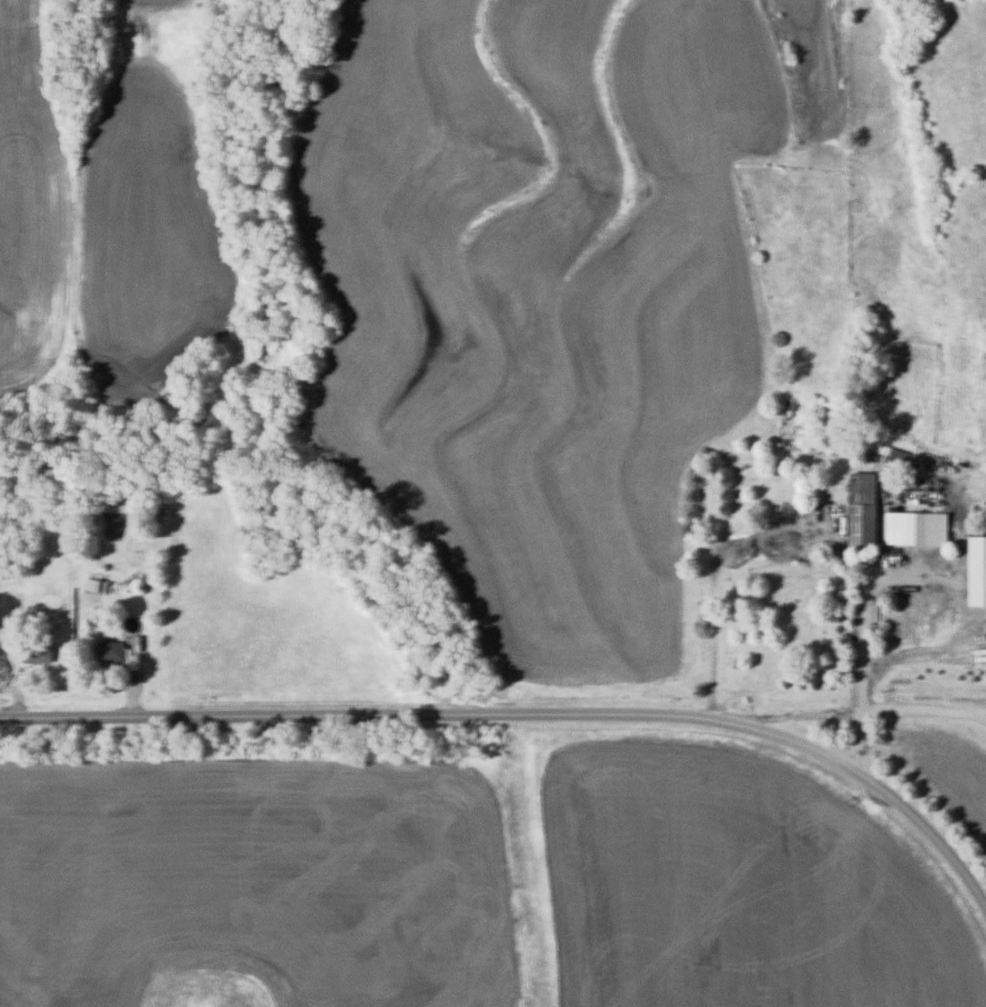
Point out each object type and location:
building: (898, 456)
building: (860, 508)
road: (714, 623)
building: (887, 626)
building: (113, 651)
building: (39, 653)
road: (861, 659)
road: (850, 710)
road: (531, 713)
road: (983, 713)

